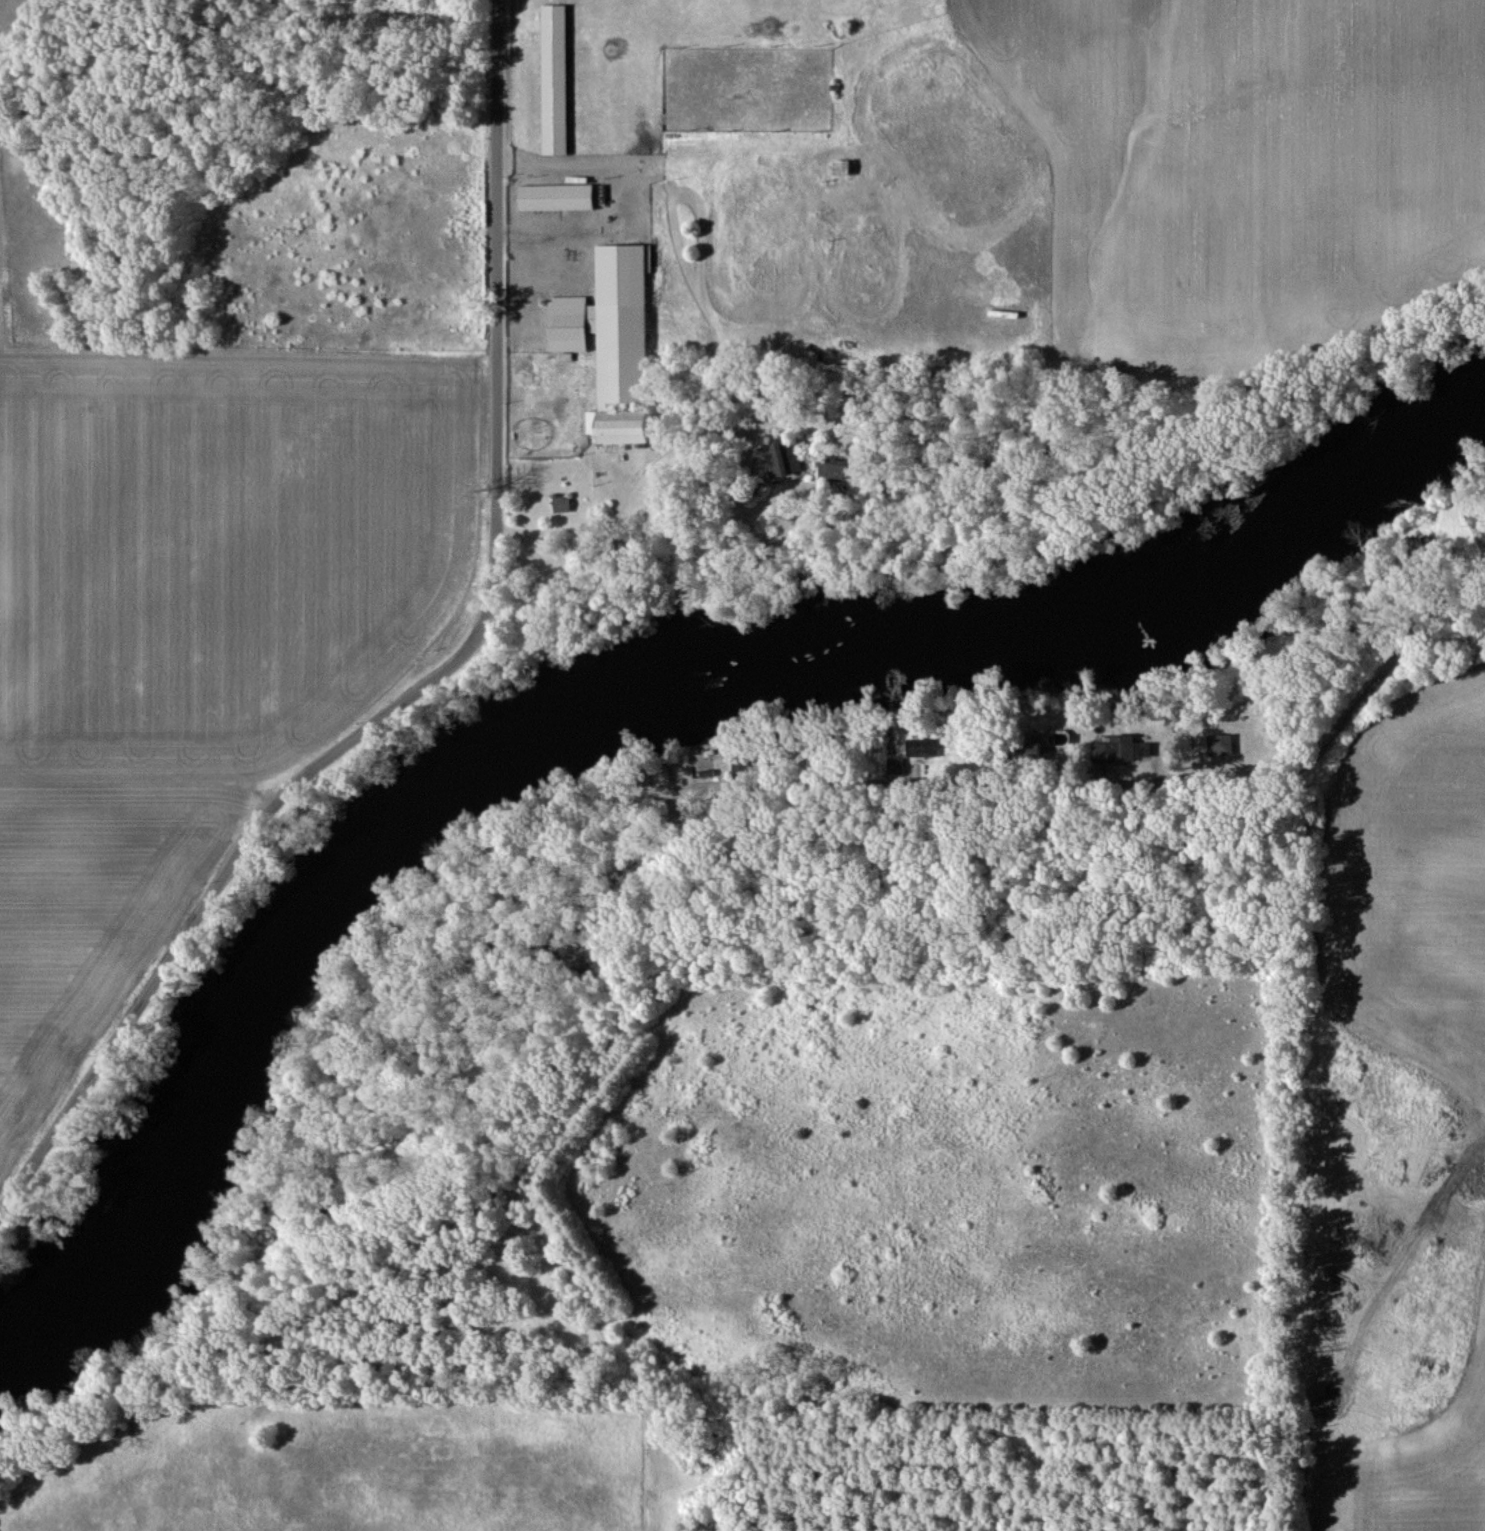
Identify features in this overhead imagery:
building: (558, 79)
building: (844, 167)
building: (560, 197)
building: (615, 341)
building: (784, 459)
building: (829, 468)
road: (635, 473)
building: (564, 505)
building: (1458, 529)
road: (437, 673)
river: (634, 712)
building: (1219, 744)
building: (1112, 747)
road: (762, 785)
road: (760, 902)

